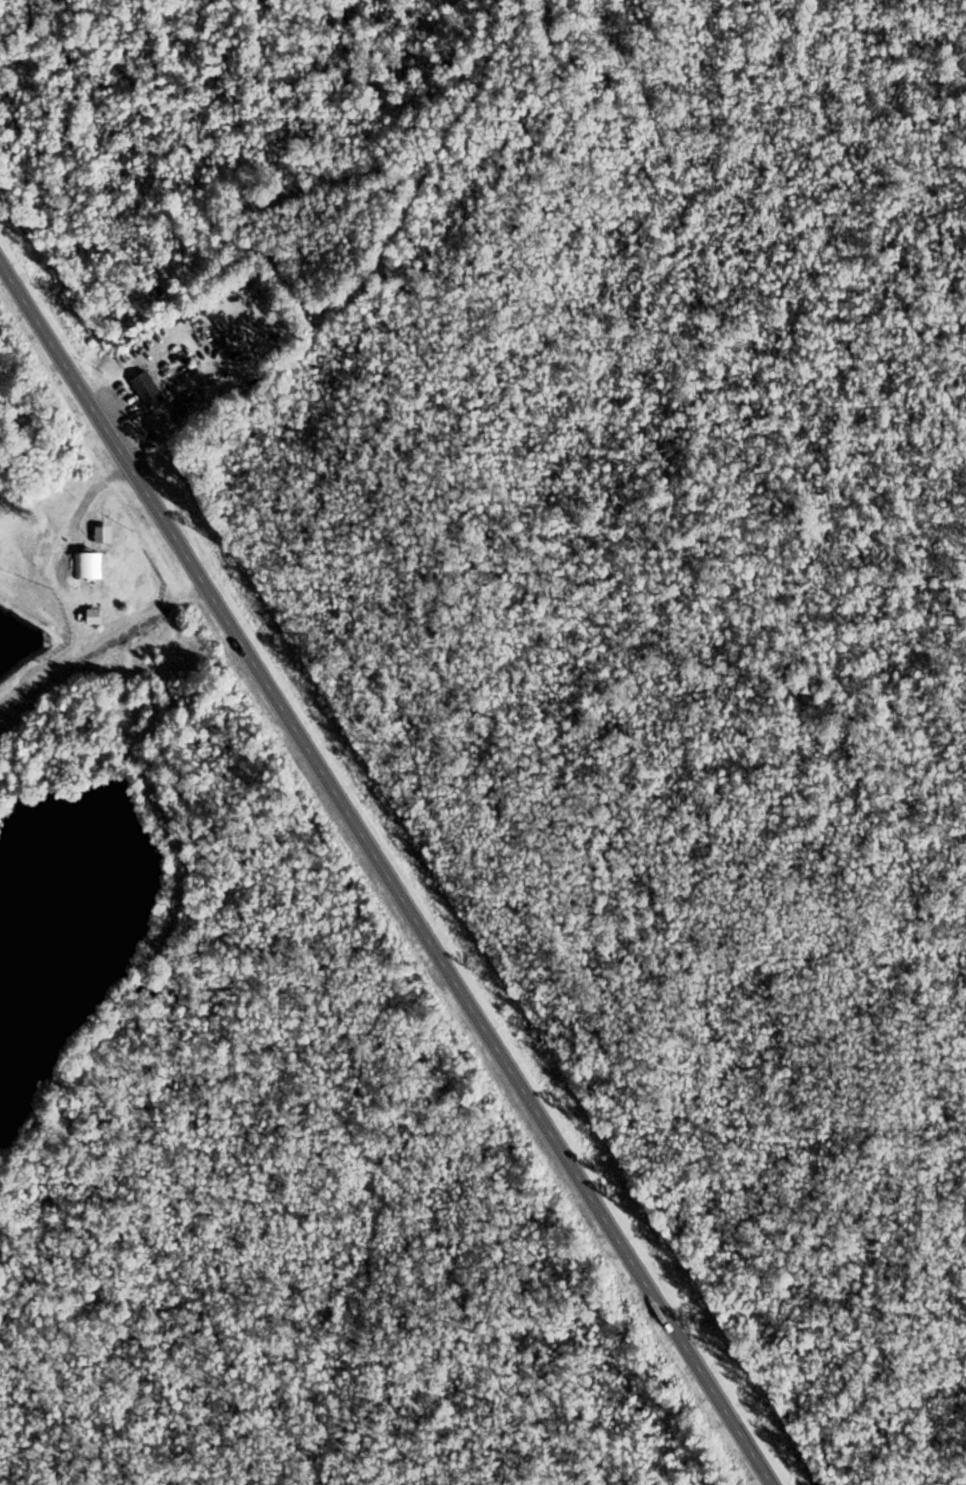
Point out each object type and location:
road: (313, 249)
building: (146, 390)
road: (94, 495)
building: (87, 567)
road: (384, 871)

